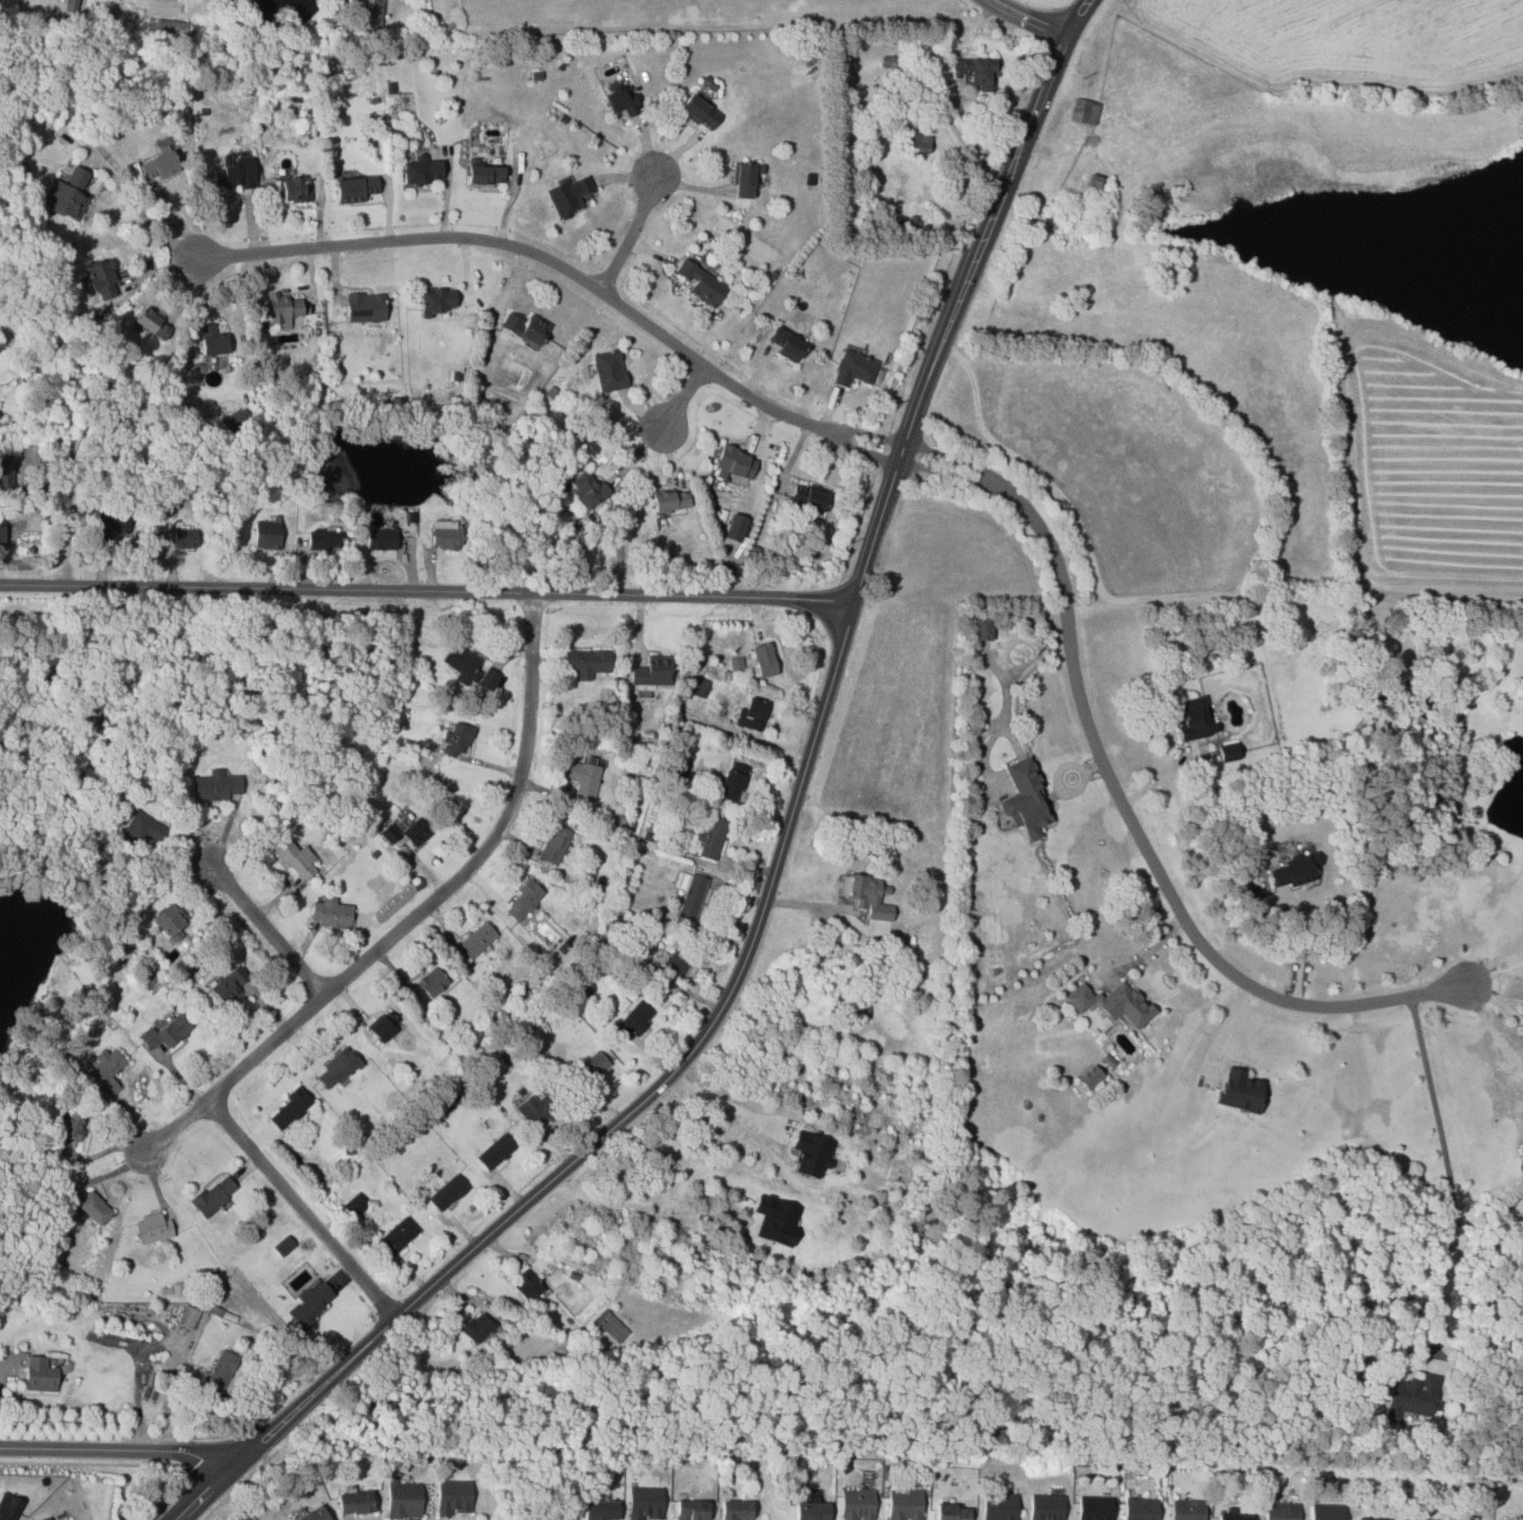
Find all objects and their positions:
building: (72, 7)
building: (374, 12)
road: (1078, 16)
road: (1030, 18)
crop: (1344, 38)
building: (975, 71)
building: (623, 100)
road: (1039, 103)
building: (1084, 111)
building: (699, 112)
building: (921, 143)
building: (158, 165)
building: (422, 171)
building: (485, 172)
building: (234, 174)
building: (744, 180)
building: (1094, 181)
building: (356, 188)
building: (295, 189)
building: (569, 195)
building: (67, 196)
road: (144, 211)
road: (633, 232)
road: (569, 269)
building: (104, 279)
building: (701, 283)
building: (438, 300)
building: (365, 307)
building: (286, 308)
building: (151, 325)
building: (526, 327)
road: (921, 340)
building: (214, 344)
building: (787, 344)
building: (853, 367)
building: (610, 370)
road: (683, 399)
building: (0, 418)
building: (236, 419)
building: (0, 425)
road: (83, 429)
crop: (1421, 456)
building: (734, 463)
building: (6, 472)
building: (585, 489)
building: (809, 496)
building: (671, 500)
road: (859, 523)
building: (111, 525)
building: (736, 527)
building: (2, 529)
building: (266, 534)
building: (446, 537)
building: (324, 539)
building: (381, 539)
building: (185, 541)
road: (427, 591)
building: (983, 629)
building: (764, 660)
building: (463, 662)
building: (587, 662)
building: (653, 672)
building: (488, 678)
building: (697, 687)
road: (1005, 704)
building: (751, 714)
building: (1193, 719)
building: (457, 738)
building: (1230, 752)
road: (1163, 778)
building: (581, 780)
building: (732, 782)
building: (217, 786)
building: (1026, 800)
road: (1121, 802)
building: (415, 832)
building: (141, 833)
building: (390, 833)
building: (712, 838)
building: (555, 845)
building: (293, 859)
building: (1293, 872)
building: (860, 889)
building: (692, 897)
building: (523, 901)
building: (331, 913)
road: (415, 915)
road: (761, 915)
building: (171, 921)
road: (270, 929)
building: (476, 940)
road: (1302, 944)
road: (1148, 954)
building: (676, 959)
road: (1495, 960)
building: (432, 982)
building: (228, 987)
road: (1498, 1000)
building: (1113, 1003)
building: (854, 1007)
building: (635, 1019)
road: (1492, 1028)
building: (381, 1029)
building: (166, 1031)
building: (336, 1068)
building: (591, 1068)
building: (106, 1071)
building: (1092, 1076)
building: (1242, 1091)
road: (735, 1098)
building: (539, 1107)
building: (289, 1108)
building: (72, 1126)
building: (1522, 1149)
building: (495, 1151)
building: (813, 1154)
road: (1449, 1176)
building: (447, 1192)
building: (213, 1195)
building: (356, 1205)
road: (304, 1206)
building: (93, 1208)
building: (152, 1228)
building: (397, 1236)
building: (284, 1245)
building: (528, 1287)
building: (315, 1299)
building: (187, 1318)
building: (611, 1326)
building: (478, 1328)
building: (219, 1373)
building: (38, 1375)
road: (136, 1388)
building: (1412, 1397)
road: (115, 1449)
road: (93, 1464)
road: (202, 1497)
building: (454, 1498)
road: (167, 1499)
building: (403, 1499)
building: (356, 1503)
building: (645, 1503)
building: (8, 1505)
building: (857, 1505)
building: (904, 1505)
building: (999, 1506)
building: (1046, 1507)
road: (215, 1508)
building: (1094, 1508)
building: (1140, 1509)
building: (1186, 1509)
building: (600, 1510)
building: (692, 1510)
building: (736, 1510)
building: (1282, 1511)
building: (811, 1512)
building: (953, 1512)
building: (1327, 1512)
building: (314, 1515)
building: (1234, 1517)
building: (47, 1518)
building: (1367, 1519)
building: (1406, 1519)

